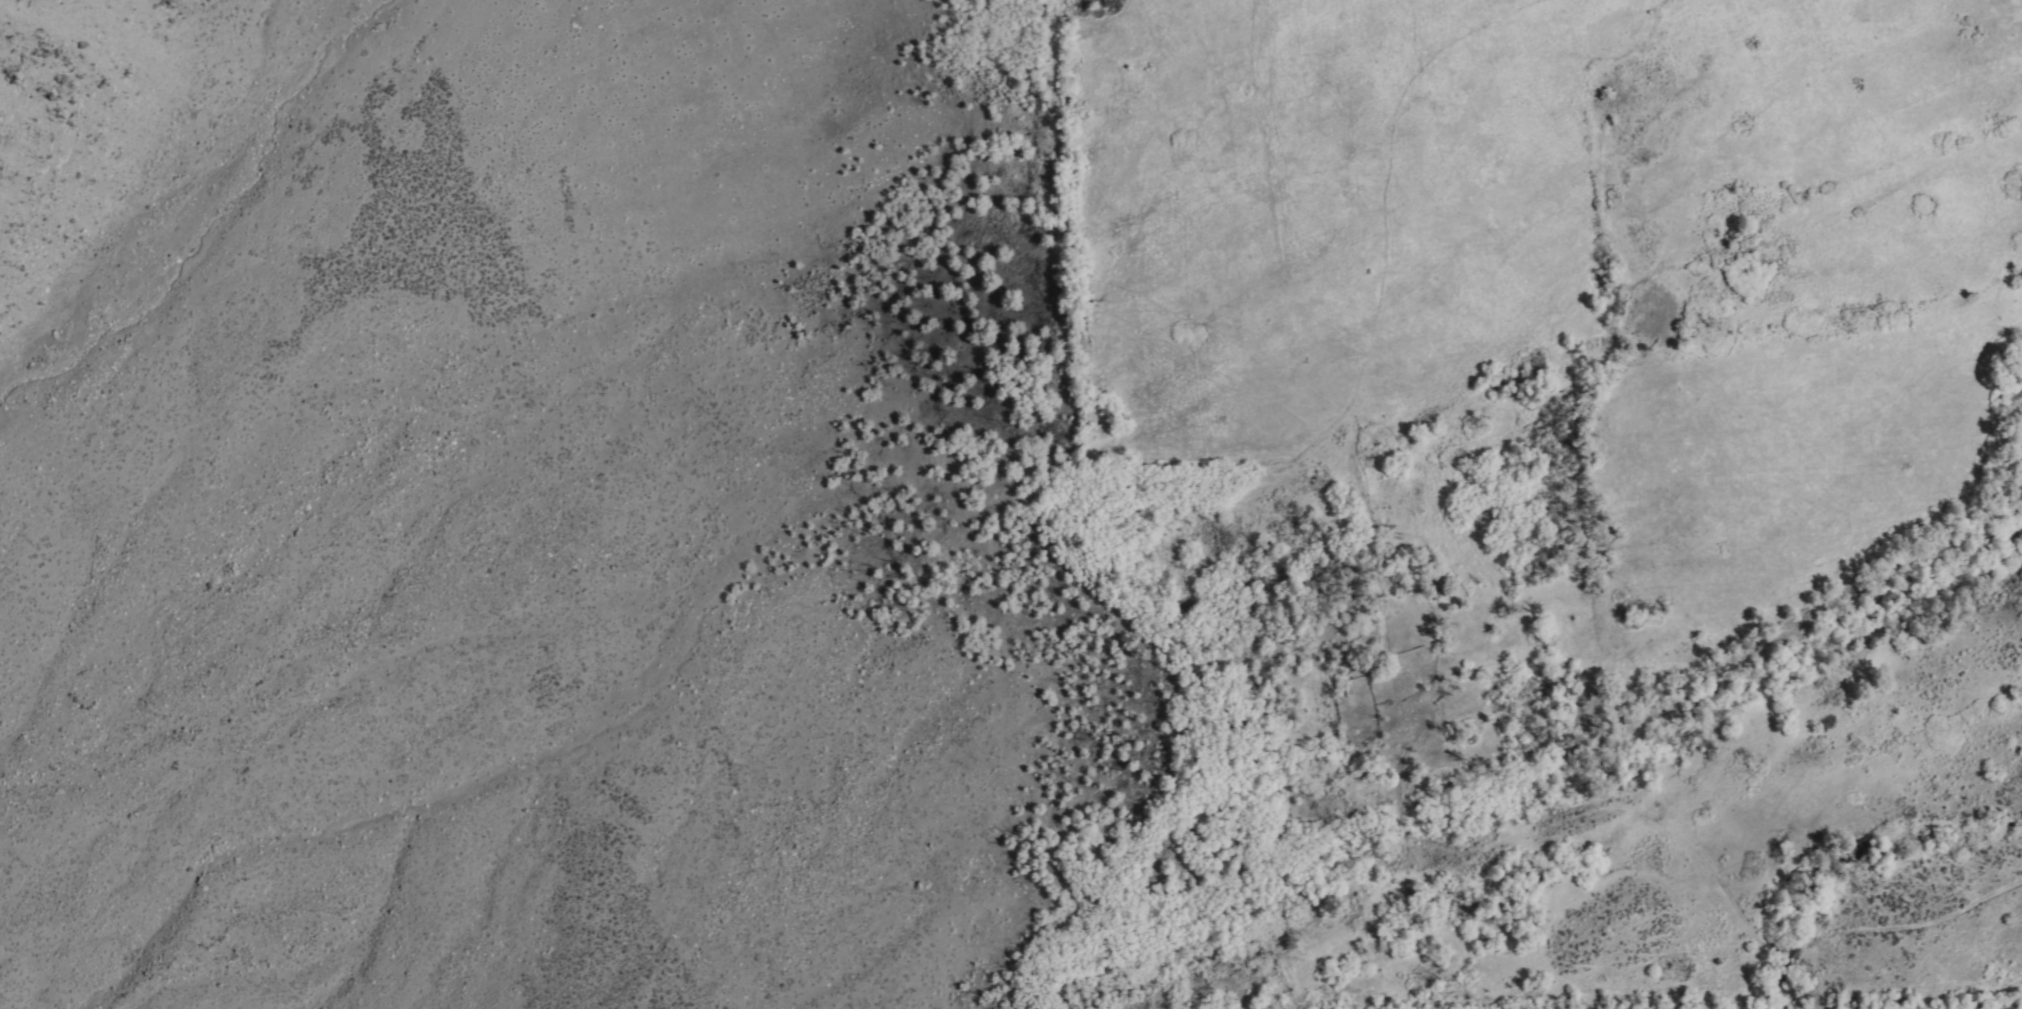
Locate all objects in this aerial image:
road: (1938, 925)

